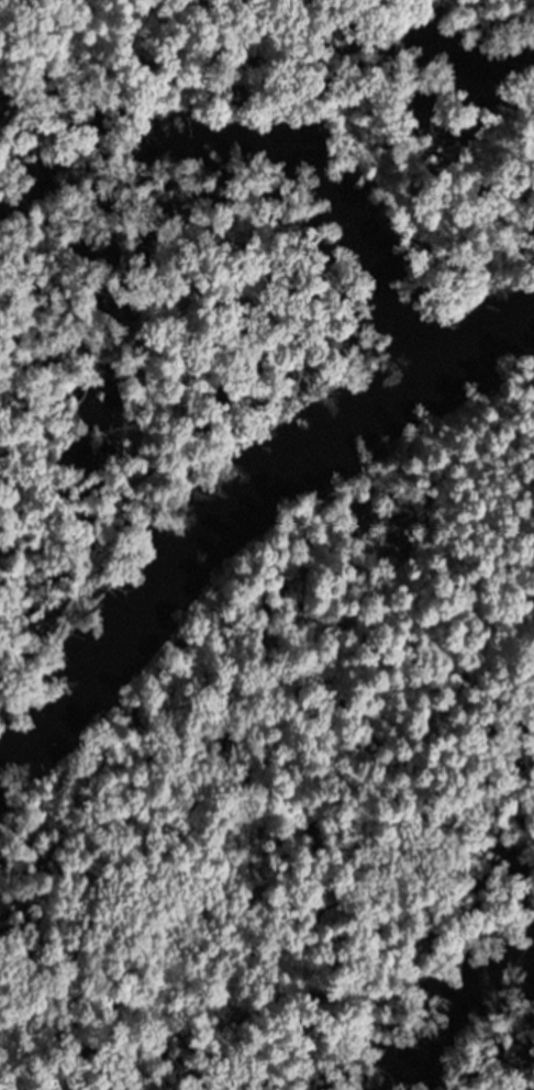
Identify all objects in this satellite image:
river: (242, 515)

